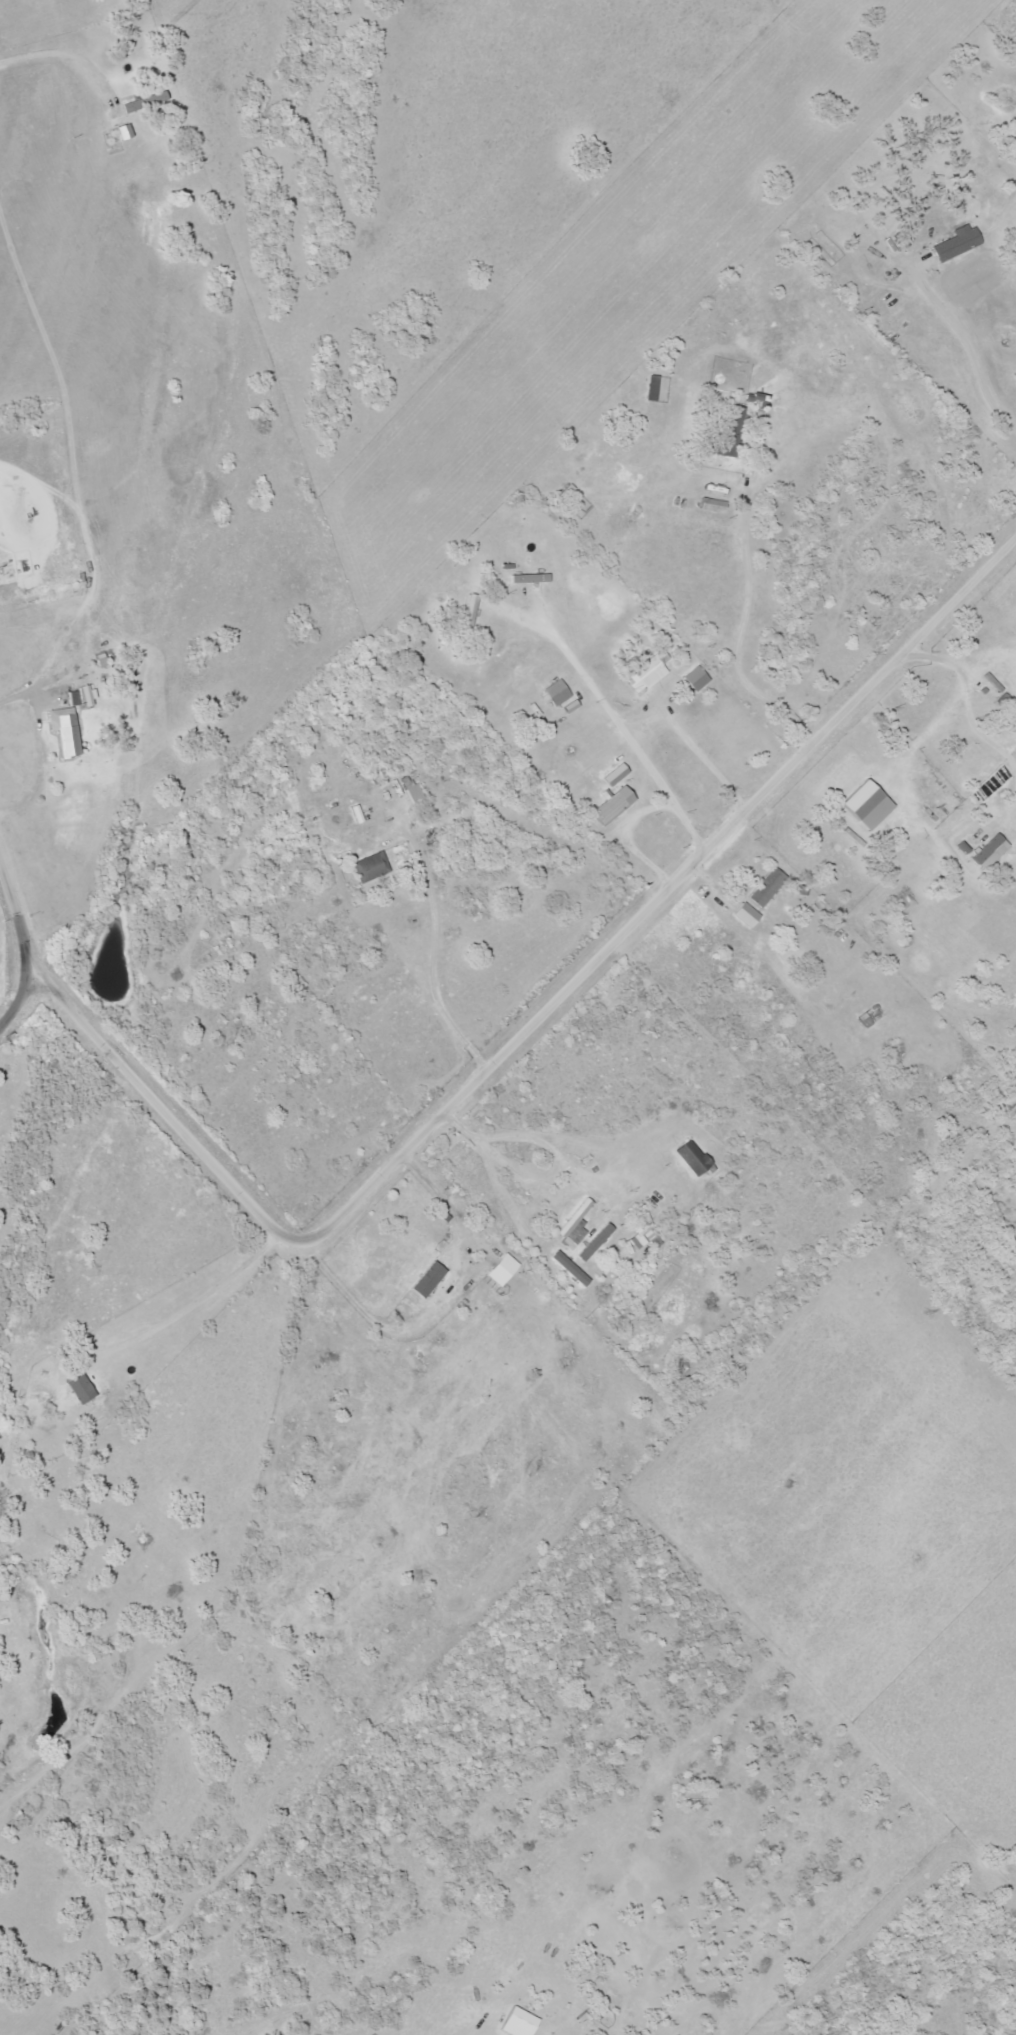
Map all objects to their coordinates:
building: (144, 102)
building: (124, 131)
building: (955, 242)
building: (881, 243)
building: (652, 387)
building: (729, 426)
building: (711, 504)
building: (528, 578)
building: (470, 612)
building: (645, 673)
building: (695, 678)
building: (556, 692)
building: (65, 726)
building: (413, 792)
building: (615, 801)
building: (370, 866)
building: (767, 887)
building: (745, 913)
road: (26, 942)
building: (869, 1015)
road: (523, 1028)
building: (690, 1156)
building: (576, 1221)
building: (647, 1233)
building: (427, 1235)

